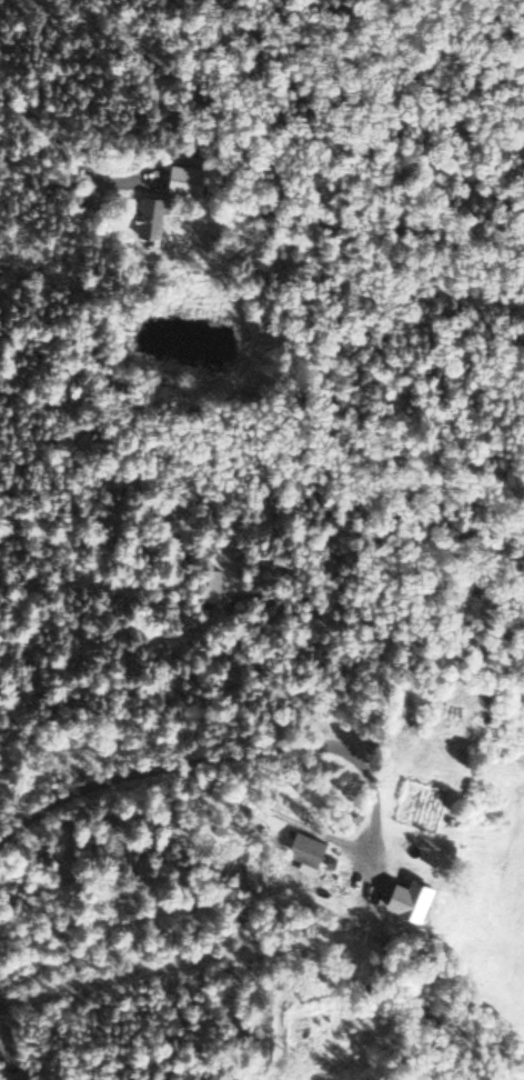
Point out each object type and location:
building: (183, 178)
building: (150, 214)
building: (304, 844)
building: (412, 897)

